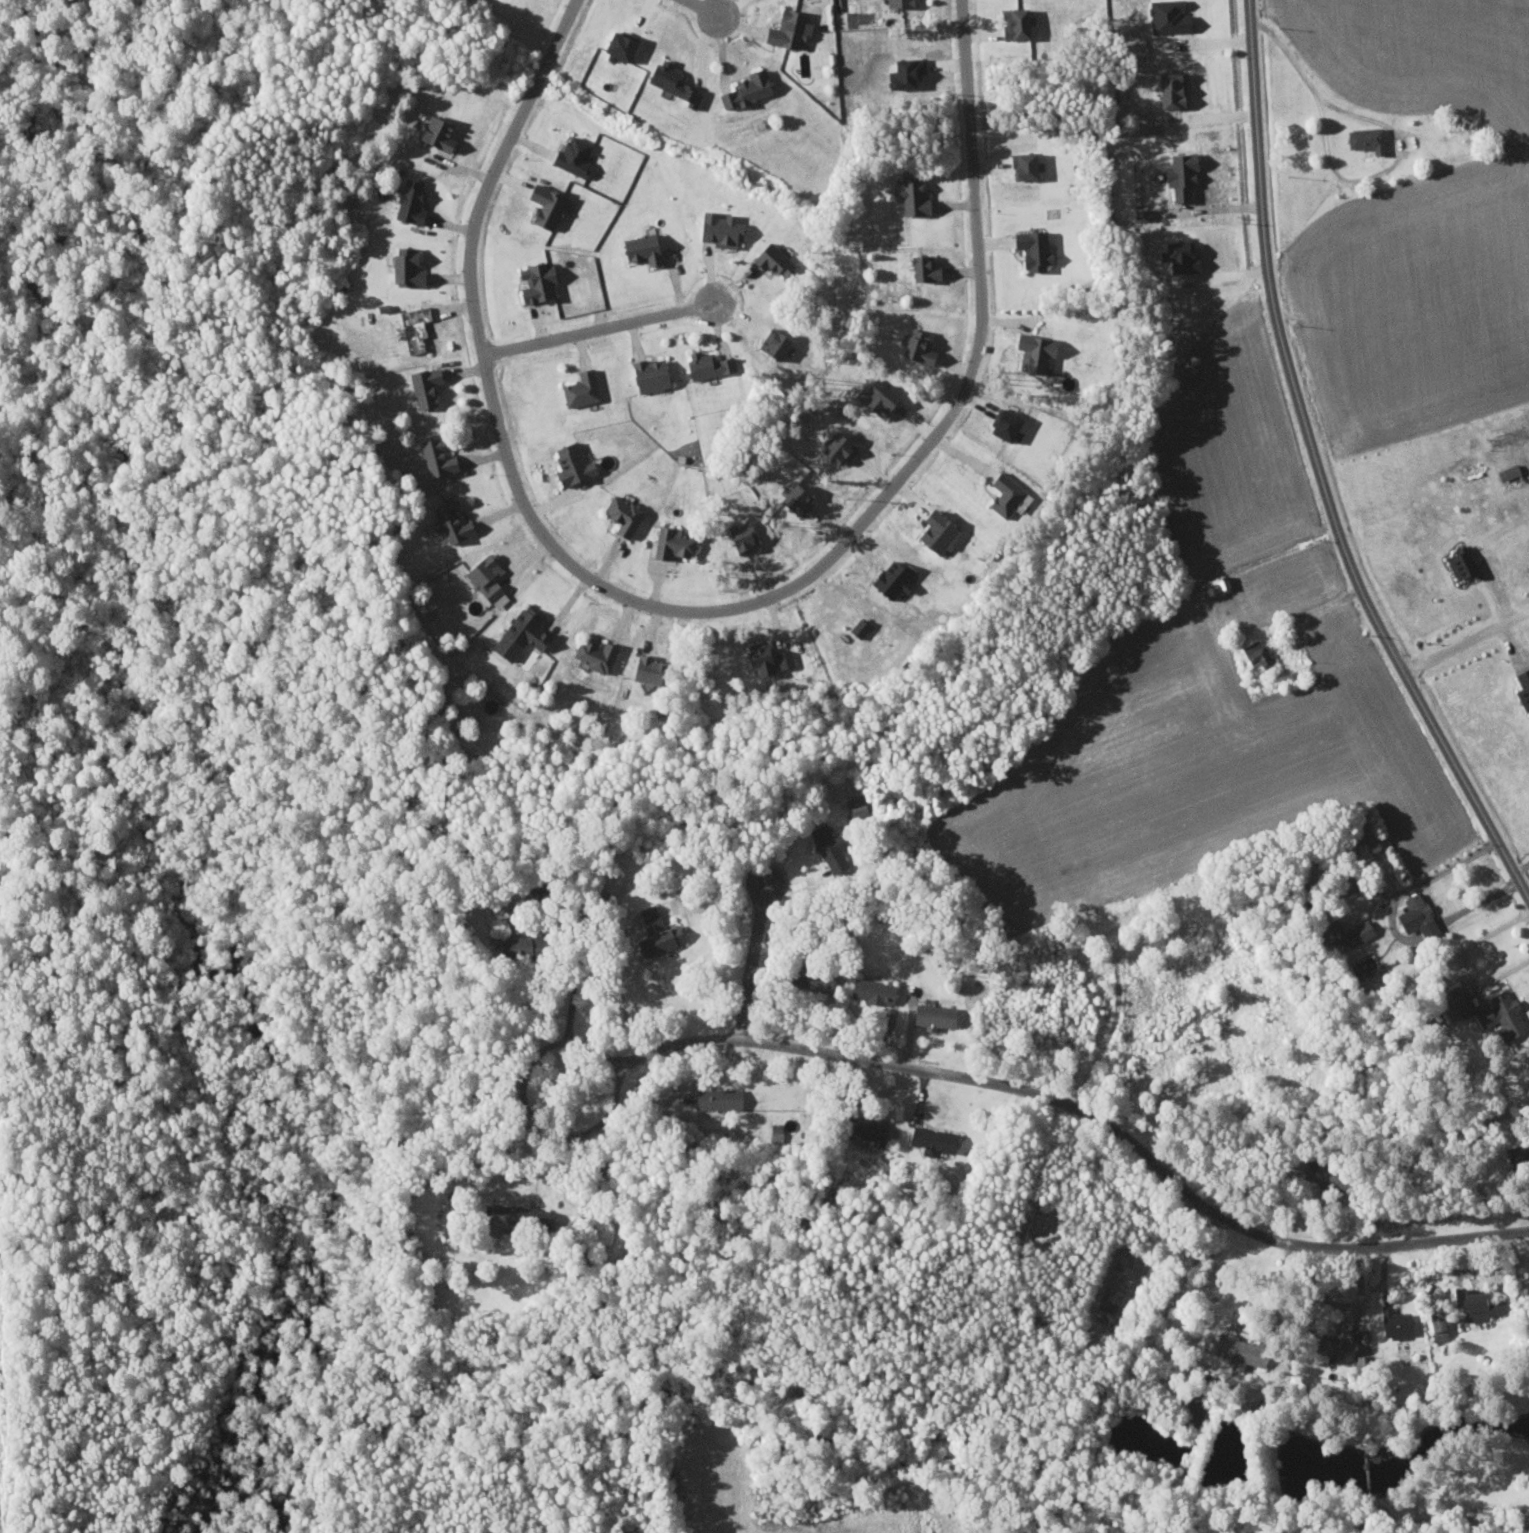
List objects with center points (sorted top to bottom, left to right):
building: (898, 3)
road: (701, 10)
building: (786, 29)
building: (614, 46)
building: (669, 82)
building: (746, 89)
building: (436, 133)
building: (1365, 138)
building: (571, 155)
building: (1178, 173)
building: (911, 193)
building: (408, 201)
building: (542, 204)
road: (1209, 209)
building: (1141, 214)
building: (717, 227)
building: (639, 247)
building: (1032, 249)
building: (770, 257)
building: (404, 266)
building: (921, 267)
building: (535, 280)
building: (411, 326)
road: (601, 327)
building: (770, 342)
building: (915, 345)
building: (1031, 350)
building: (706, 363)
building: (647, 373)
building: (423, 384)
building: (578, 387)
building: (835, 448)
building: (434, 456)
building: (569, 462)
road: (1311, 470)
building: (1507, 471)
building: (1003, 492)
building: (793, 498)
building: (620, 514)
building: (449, 520)
building: (934, 532)
building: (739, 536)
building: (671, 542)
building: (1459, 563)
building: (483, 576)
building: (888, 578)
road: (703, 611)
building: (857, 627)
building: (518, 634)
building: (1257, 653)
building: (592, 654)
building: (766, 657)
building: (641, 667)
building: (1522, 686)
building: (824, 846)
building: (1366, 847)
road: (1523, 866)
road: (1417, 882)
road: (1480, 902)
building: (1412, 913)
road: (1431, 929)
building: (1344, 932)
building: (655, 933)
building: (516, 945)
road: (750, 962)
road: (1462, 962)
building: (870, 990)
building: (1454, 1001)
building: (1505, 1014)
building: (926, 1016)
road: (516, 1076)
building: (715, 1098)
road: (1093, 1110)
building: (864, 1130)
building: (930, 1139)
building: (497, 1212)
building: (1477, 1305)
building: (1437, 1322)
building: (1394, 1323)
building: (1330, 1339)

